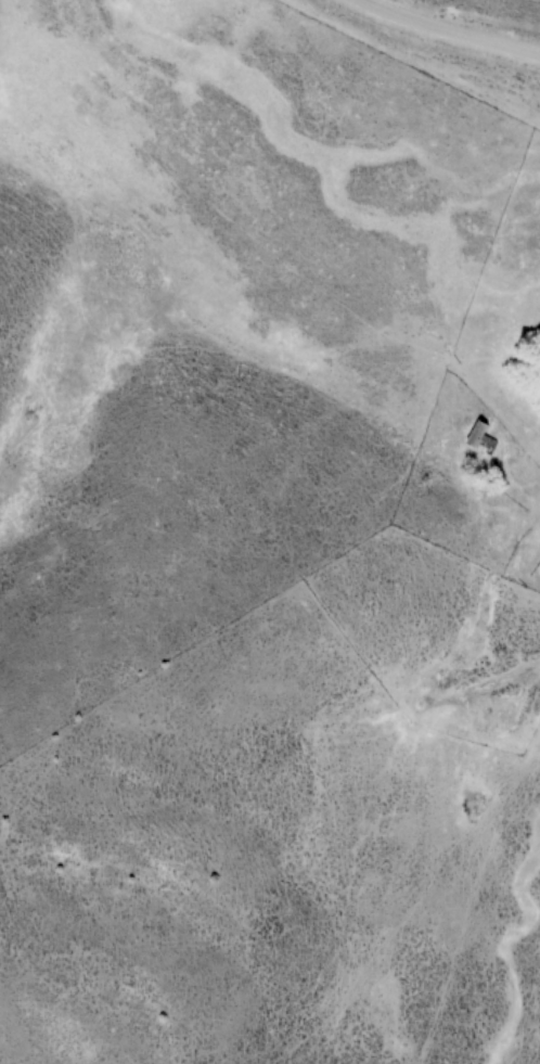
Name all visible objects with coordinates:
road: (448, 31)
building: (484, 439)

